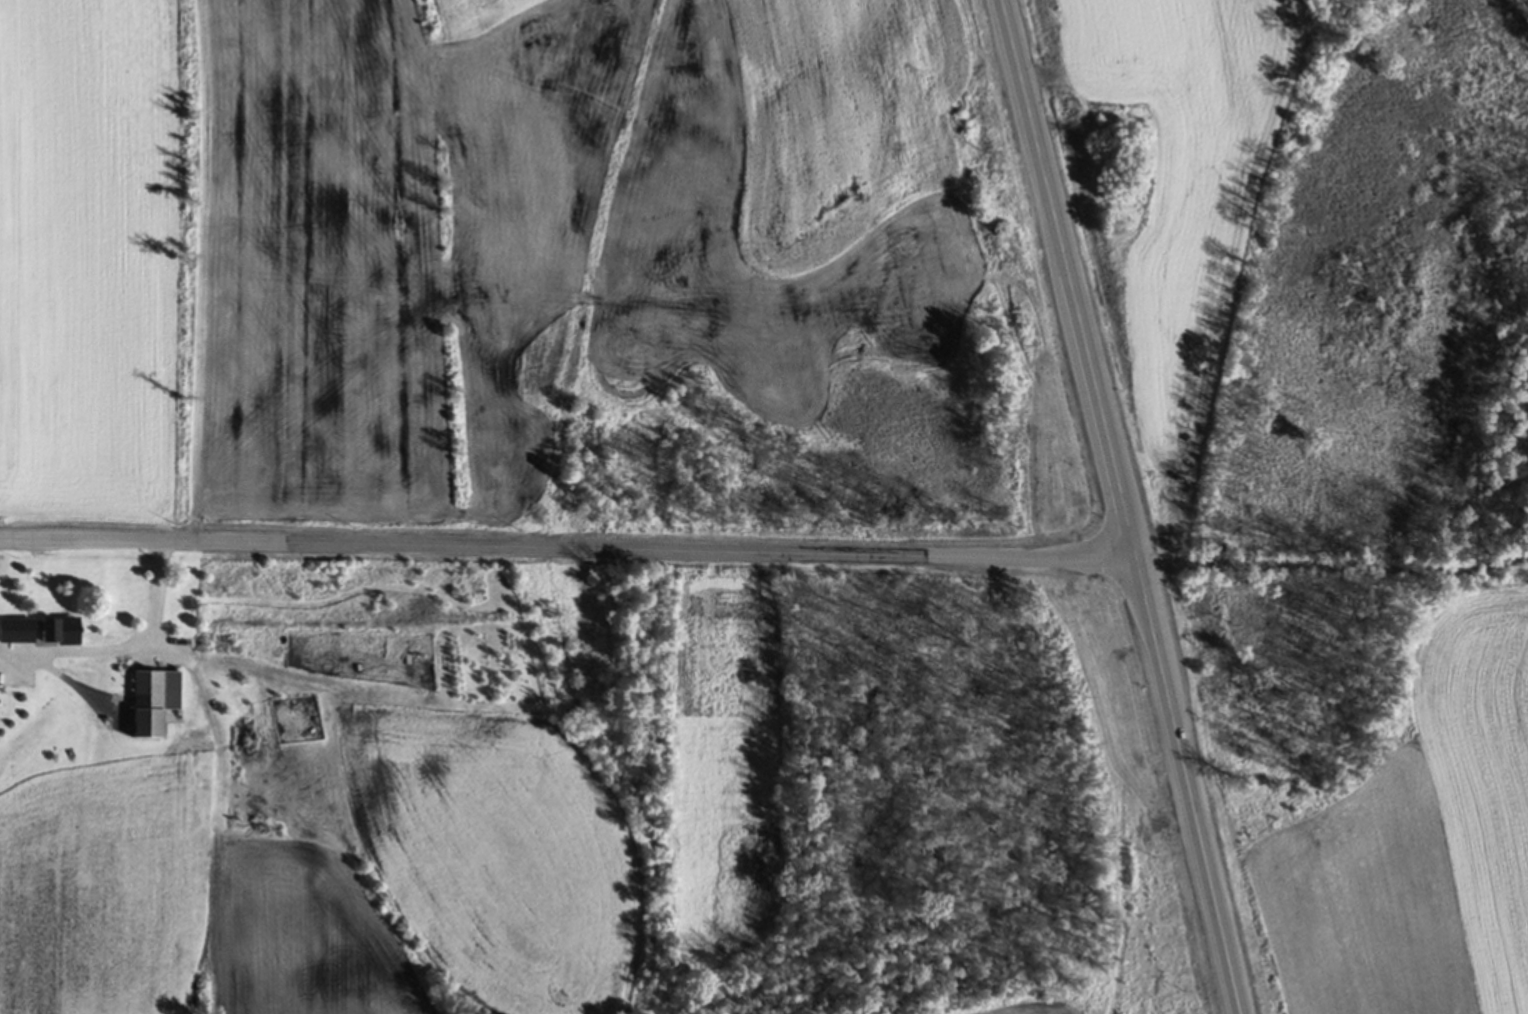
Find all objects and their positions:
road: (1069, 275)
road: (1331, 542)
road: (567, 550)
building: (51, 632)
road: (121, 650)
building: (18, 680)
building: (145, 693)
road: (1188, 782)
road: (1370, 861)

